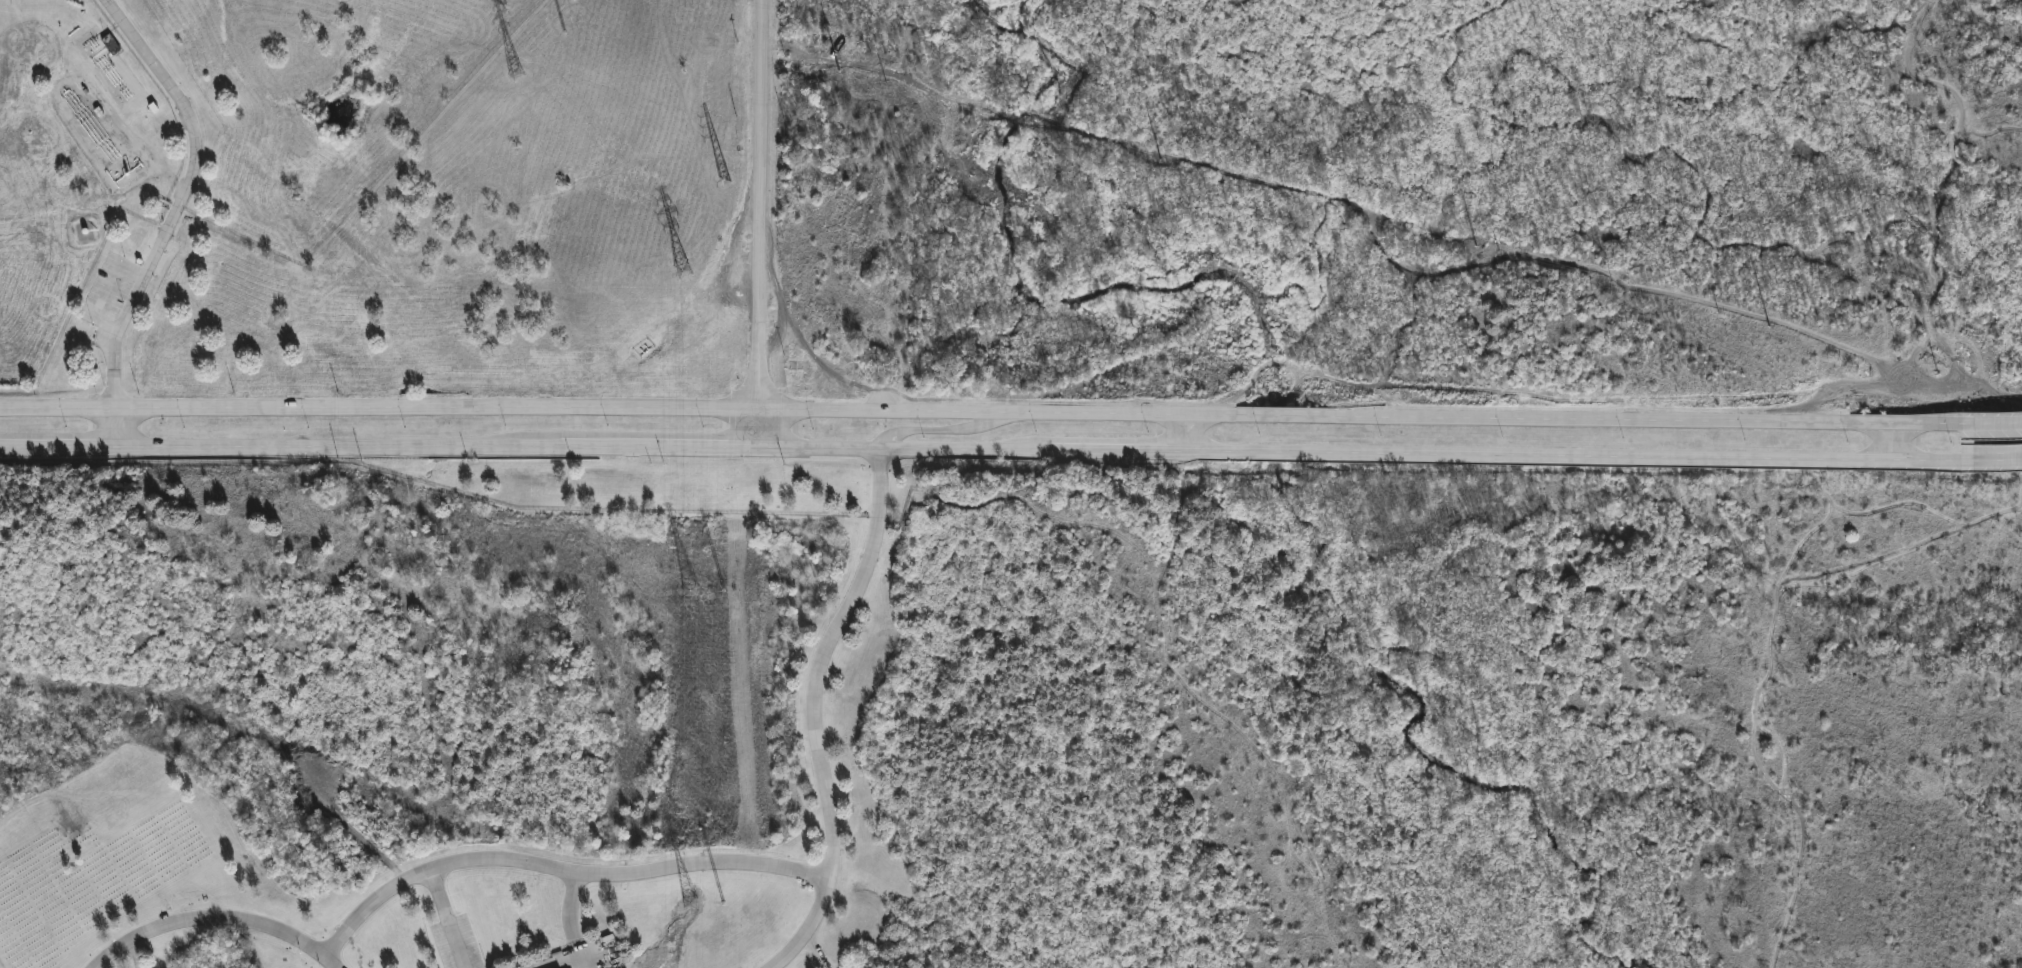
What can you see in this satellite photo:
building: (113, 45)
power tower: (520, 75)
road: (187, 196)
road: (766, 206)
power tower: (691, 270)
road: (379, 410)
road: (1367, 417)
road: (1998, 422)
road: (120, 427)
road: (758, 429)
road: (947, 433)
road: (1187, 434)
road: (1892, 440)
road: (378, 445)
road: (1364, 455)
road: (1997, 456)
power tower: (696, 592)
park: (359, 709)
road: (815, 709)
park: (1009, 712)
park: (1395, 716)
road: (563, 868)
power tower: (694, 904)
road: (219, 913)
road: (448, 918)
road: (571, 920)
road: (135, 955)

